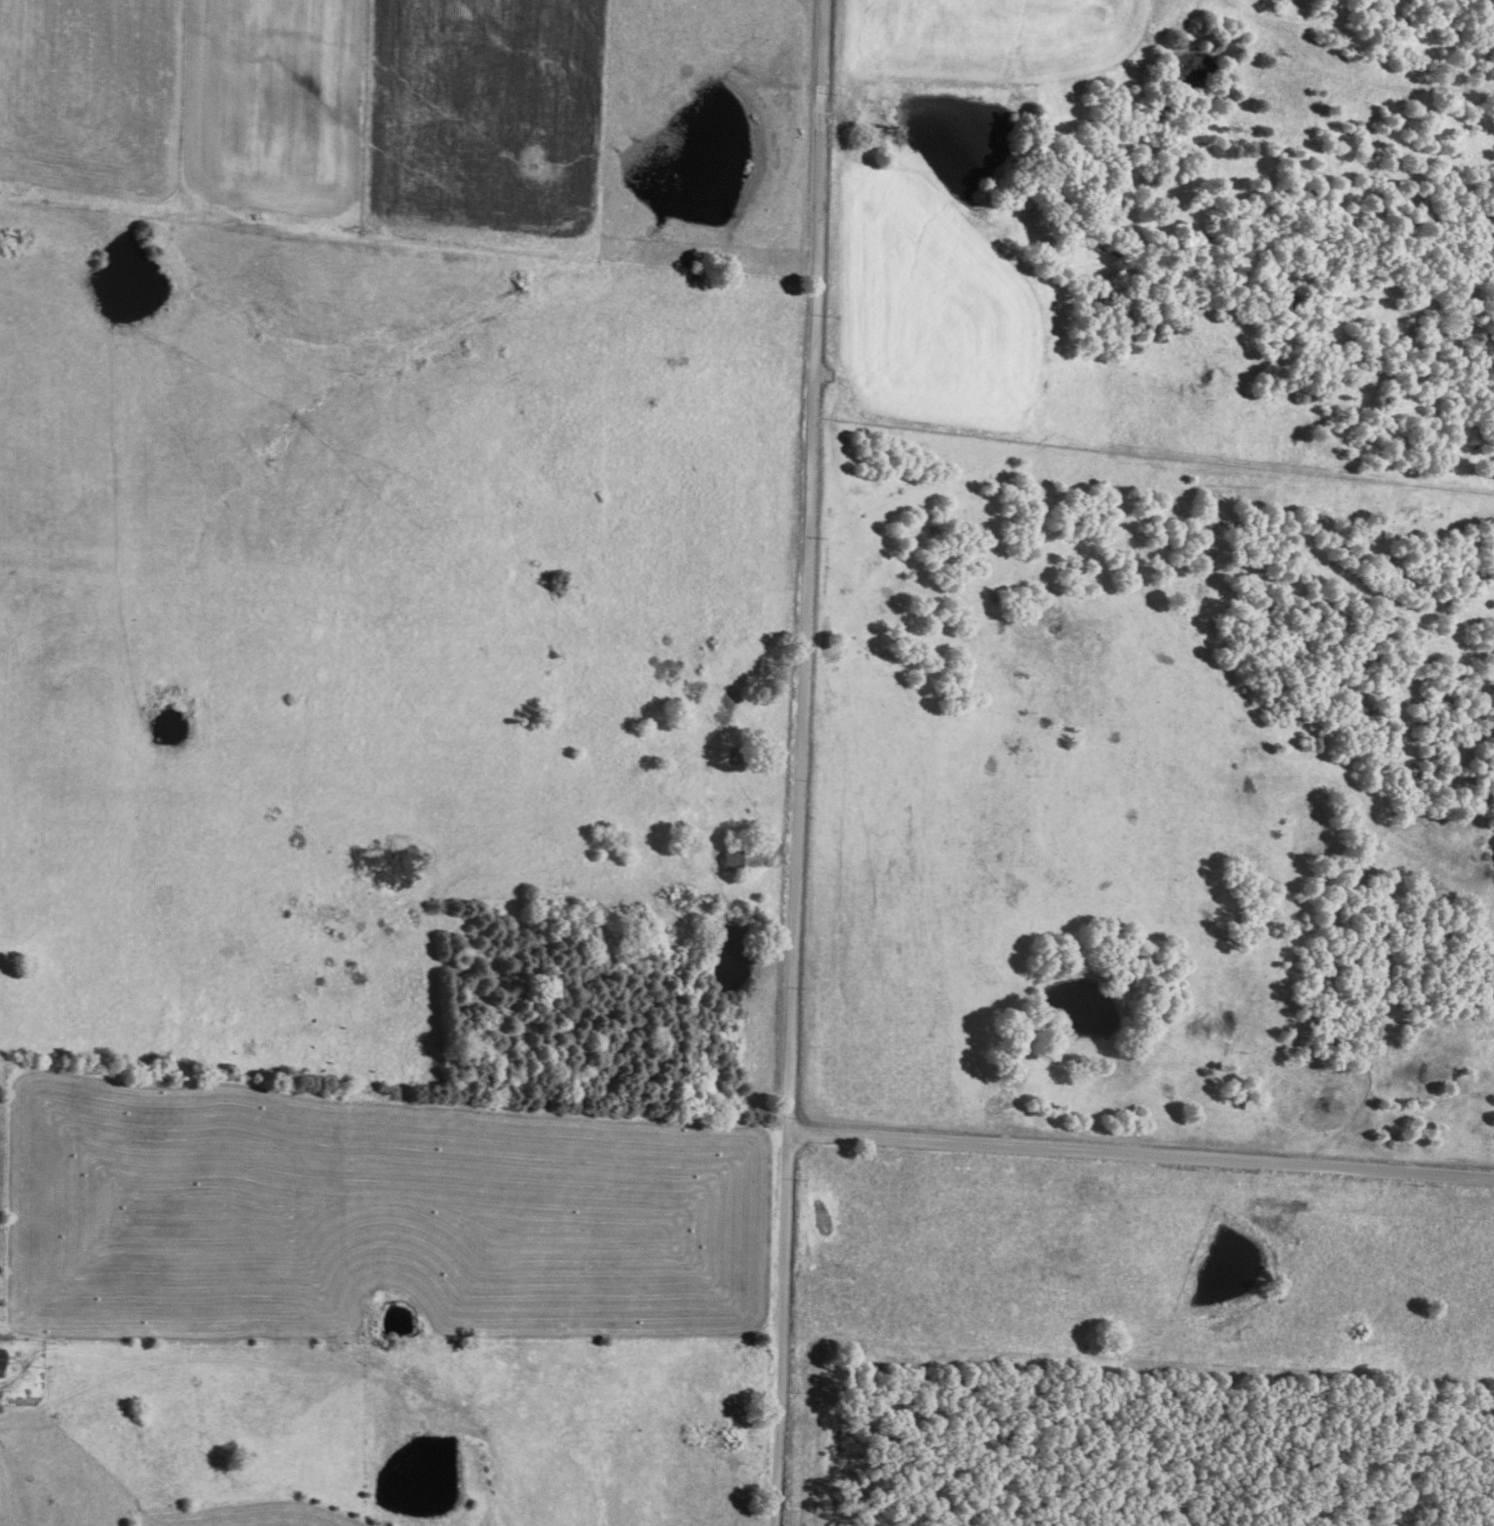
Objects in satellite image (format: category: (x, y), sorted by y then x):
road: (801, 763)
road: (1142, 1154)
building: (1, 1363)

